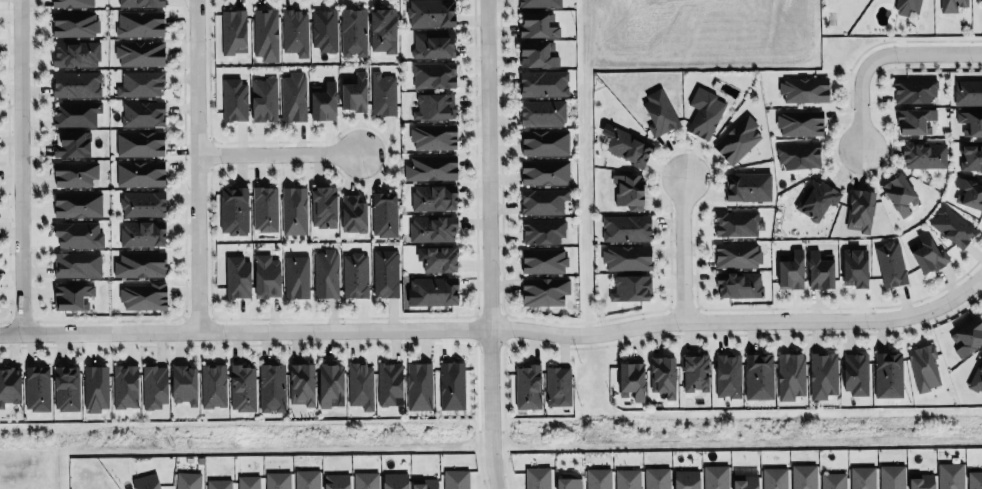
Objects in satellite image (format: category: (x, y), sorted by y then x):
building: (140, 2)
building: (73, 3)
building: (539, 3)
building: (951, 5)
building: (906, 6)
building: (430, 13)
building: (137, 23)
building: (72, 24)
building: (538, 24)
building: (323, 29)
building: (383, 29)
building: (233, 31)
building: (354, 31)
building: (294, 32)
building: (265, 34)
building: (432, 44)
building: (139, 52)
building: (75, 53)
building: (538, 53)
road: (885, 53)
building: (433, 75)
building: (75, 83)
building: (140, 83)
building: (543, 83)
building: (803, 89)
building: (914, 89)
building: (353, 92)
building: (968, 92)
building: (382, 94)
building: (293, 96)
building: (234, 99)
building: (263, 99)
building: (323, 100)
building: (432, 105)
building: (542, 111)
building: (659, 111)
building: (702, 111)
building: (142, 112)
building: (75, 113)
building: (914, 120)
building: (800, 121)
building: (970, 122)
building: (433, 136)
building: (737, 138)
building: (544, 142)
building: (139, 143)
building: (72, 144)
building: (627, 147)
road: (277, 151)
building: (798, 154)
building: (923, 154)
building: (970, 157)
road: (197, 163)
road: (18, 165)
building: (431, 167)
building: (544, 171)
building: (74, 172)
building: (140, 173)
building: (748, 185)
building: (628, 191)
building: (969, 192)
building: (899, 193)
building: (433, 197)
building: (816, 198)
building: (543, 200)
building: (142, 203)
building: (77, 204)
building: (323, 206)
building: (264, 207)
building: (233, 209)
building: (294, 209)
building: (860, 209)
building: (352, 214)
building: (384, 214)
building: (736, 222)
building: (951, 226)
building: (432, 227)
building: (626, 227)
building: (542, 229)
building: (78, 233)
building: (141, 233)
road: (682, 241)
road: (488, 244)
building: (928, 253)
building: (736, 254)
building: (626, 257)
building: (440, 259)
building: (544, 259)
building: (139, 264)
building: (890, 264)
building: (76, 265)
building: (854, 267)
building: (820, 269)
building: (791, 270)
building: (385, 272)
building: (325, 273)
building: (355, 274)
building: (237, 276)
building: (266, 276)
building: (296, 276)
building: (739, 283)
building: (630, 287)
building: (434, 290)
building: (545, 290)
building: (142, 295)
building: (72, 296)
road: (496, 326)
building: (968, 335)
building: (923, 366)
building: (695, 372)
building: (856, 373)
building: (822, 374)
building: (888, 374)
building: (663, 375)
building: (727, 375)
building: (758, 375)
building: (790, 376)
building: (976, 376)
building: (631, 380)
building: (388, 382)
building: (302, 383)
building: (183, 384)
building: (330, 384)
building: (213, 385)
building: (360, 385)
building: (418, 385)
building: (451, 385)
building: (557, 385)
building: (9, 386)
building: (124, 386)
building: (154, 386)
building: (527, 386)
building: (66, 387)
building: (95, 387)
building: (271, 387)
building: (37, 388)
building: (242, 388)
building: (803, 475)
building: (950, 475)
building: (715, 476)
building: (892, 476)
building: (598, 477)
building: (626, 477)
building: (774, 477)
building: (862, 477)
building: (537, 478)
building: (656, 478)
building: (685, 478)
building: (306, 479)
building: (455, 479)
building: (833, 479)
building: (974, 479)
building: (187, 480)
building: (277, 480)
building: (366, 480)
building: (395, 480)
building: (921, 480)
building: (248, 481)
building: (336, 481)
building: (745, 481)
building: (145, 482)
building: (568, 482)
building: (424, 483)
building: (218, 484)

